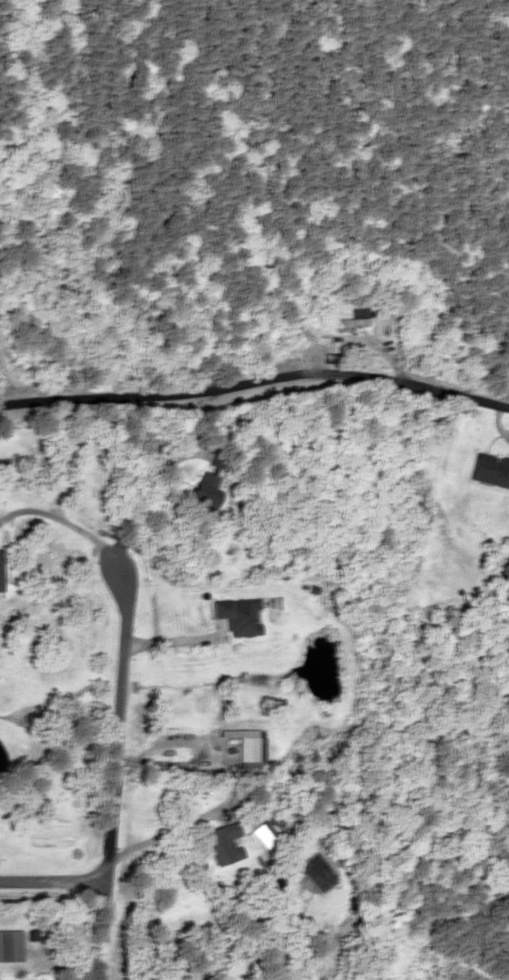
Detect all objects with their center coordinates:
building: (359, 316)
building: (27, 369)
road: (256, 380)
building: (491, 470)
building: (205, 490)
building: (0, 568)
building: (238, 615)
building: (248, 751)
road: (114, 768)
building: (222, 843)
road: (52, 879)
building: (9, 946)

